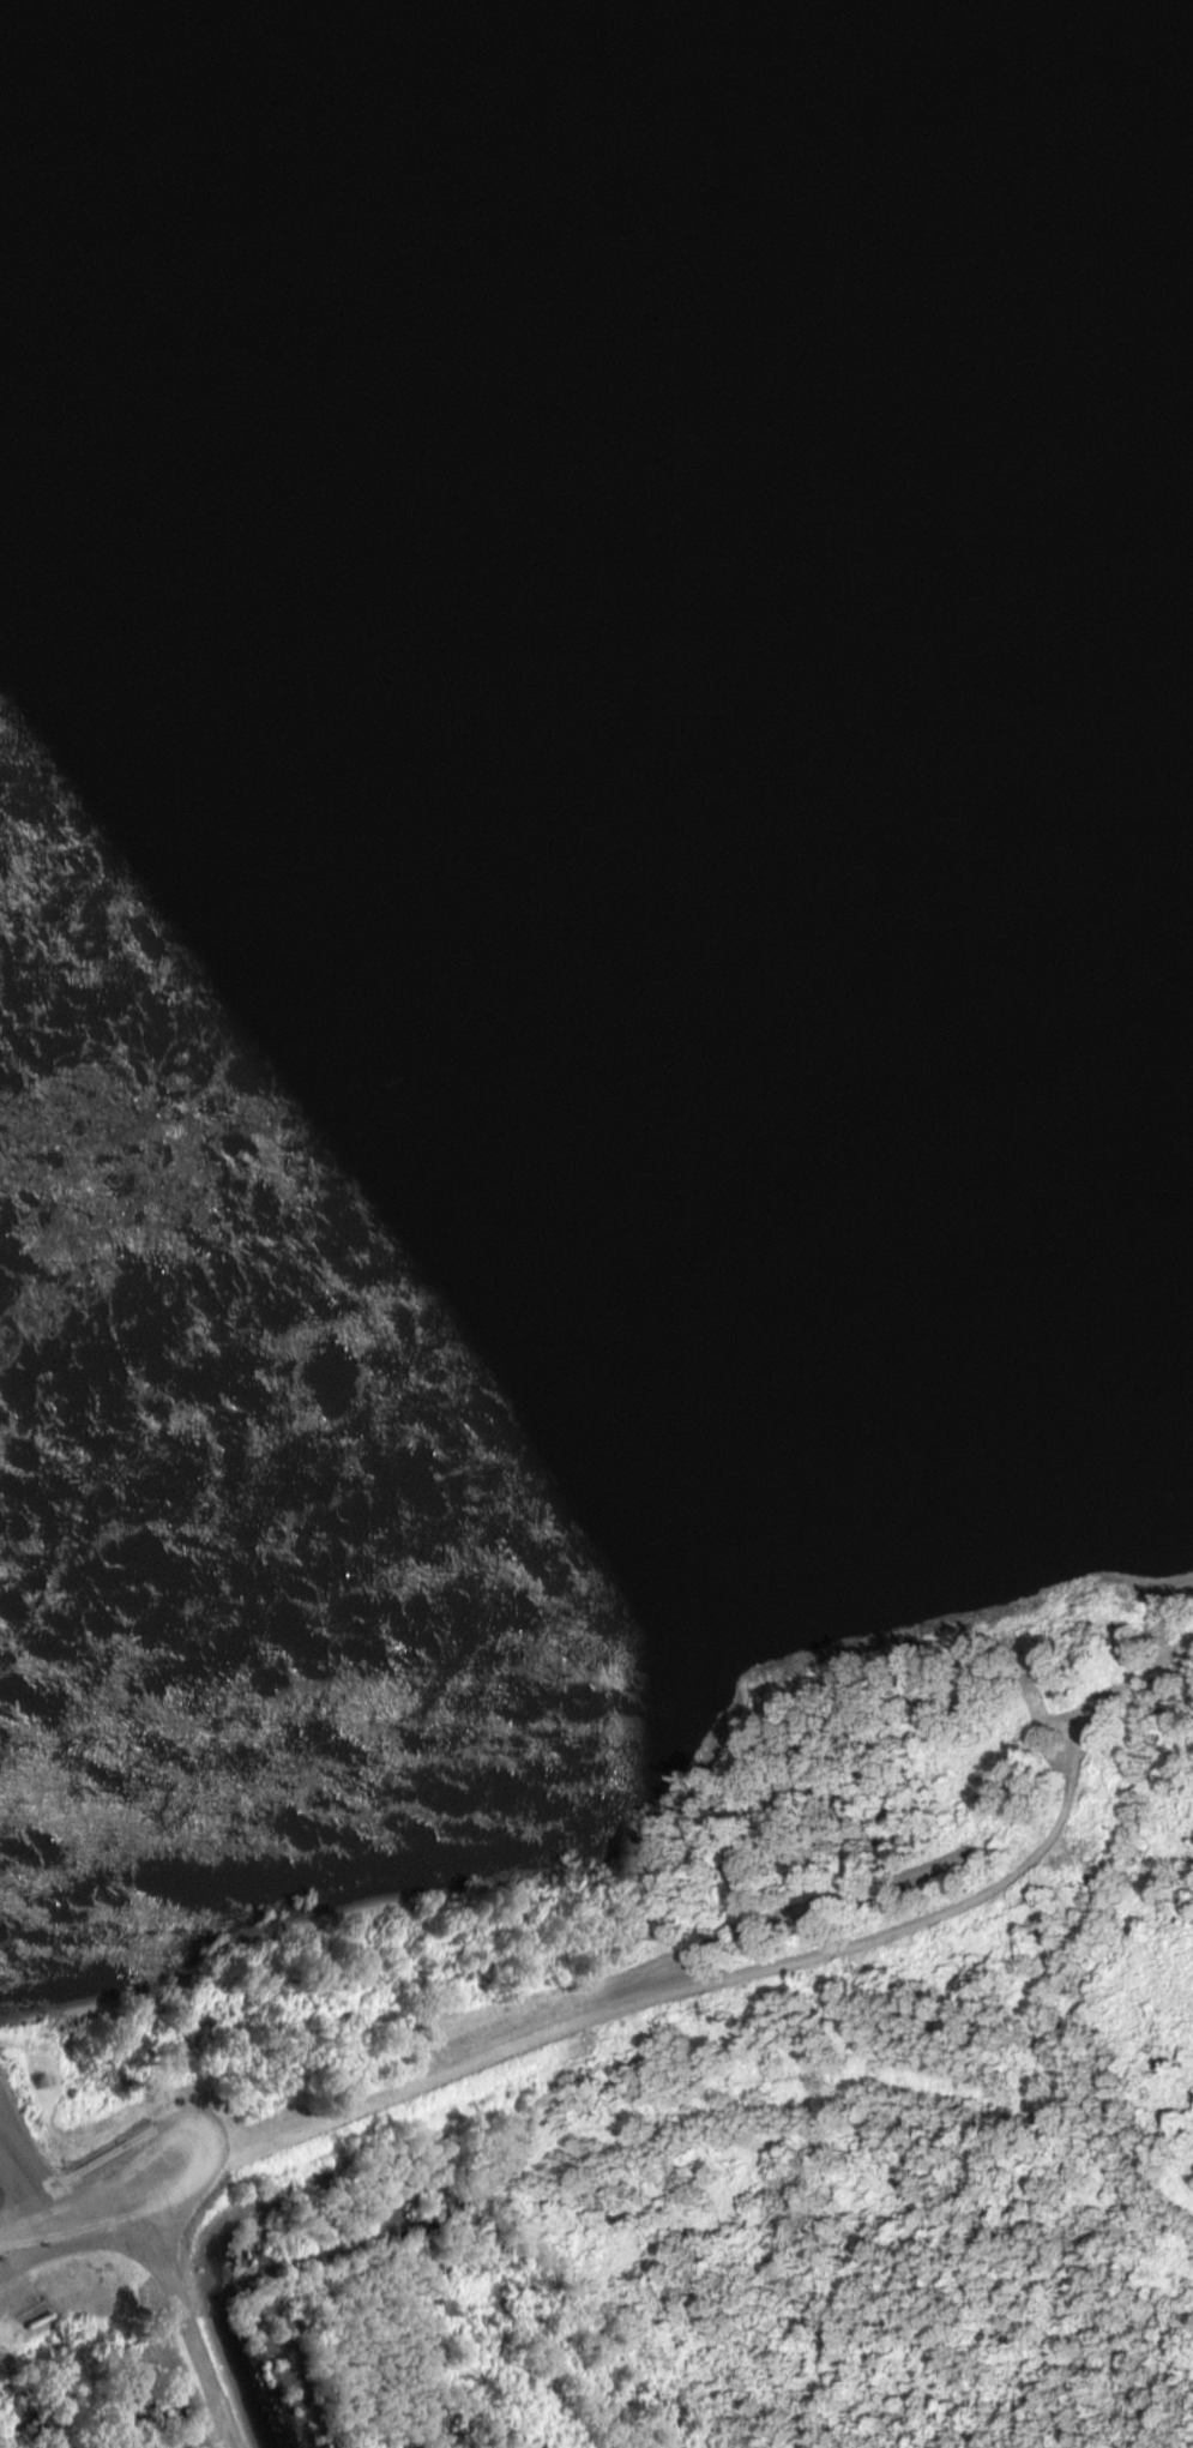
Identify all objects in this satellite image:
river: (619, 531)
road: (686, 1966)
road: (170, 2269)

